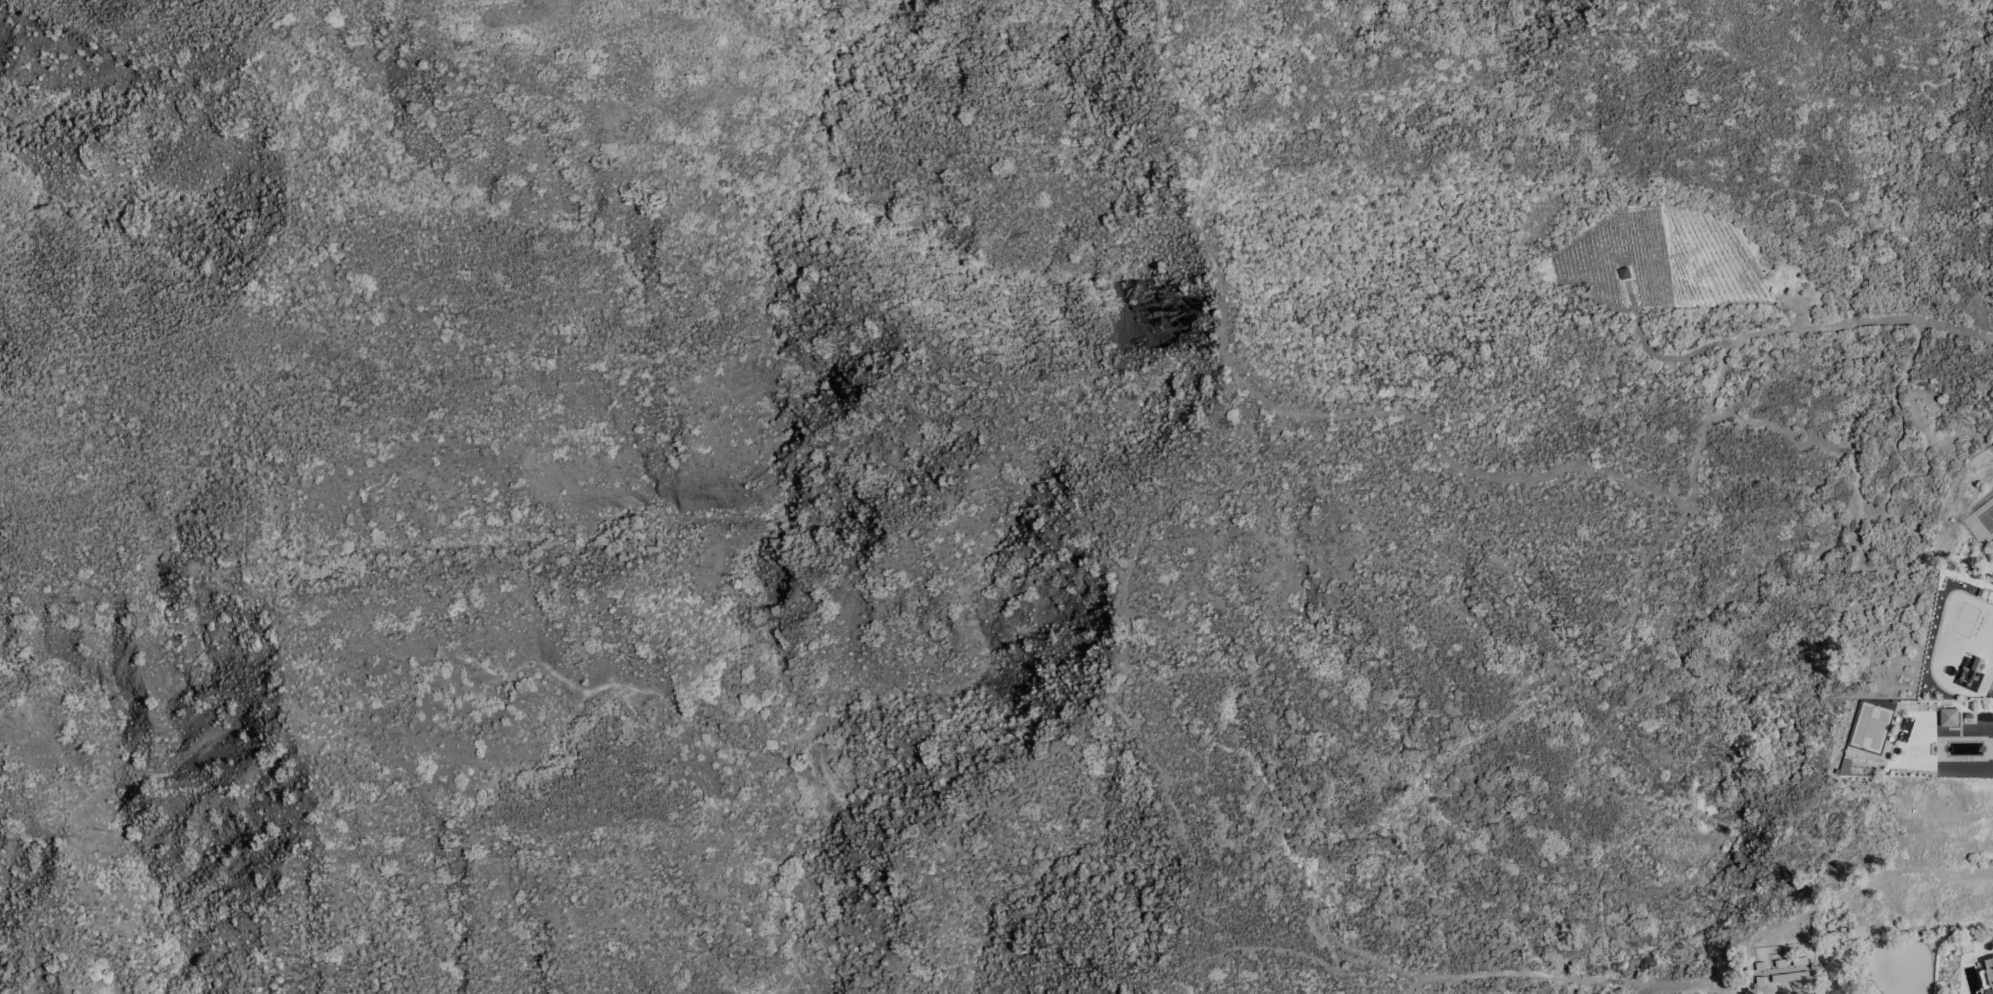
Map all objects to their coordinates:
building: (1948, 718)
road: (1878, 879)
building: (1799, 962)
building: (1988, 974)
building: (1792, 978)

